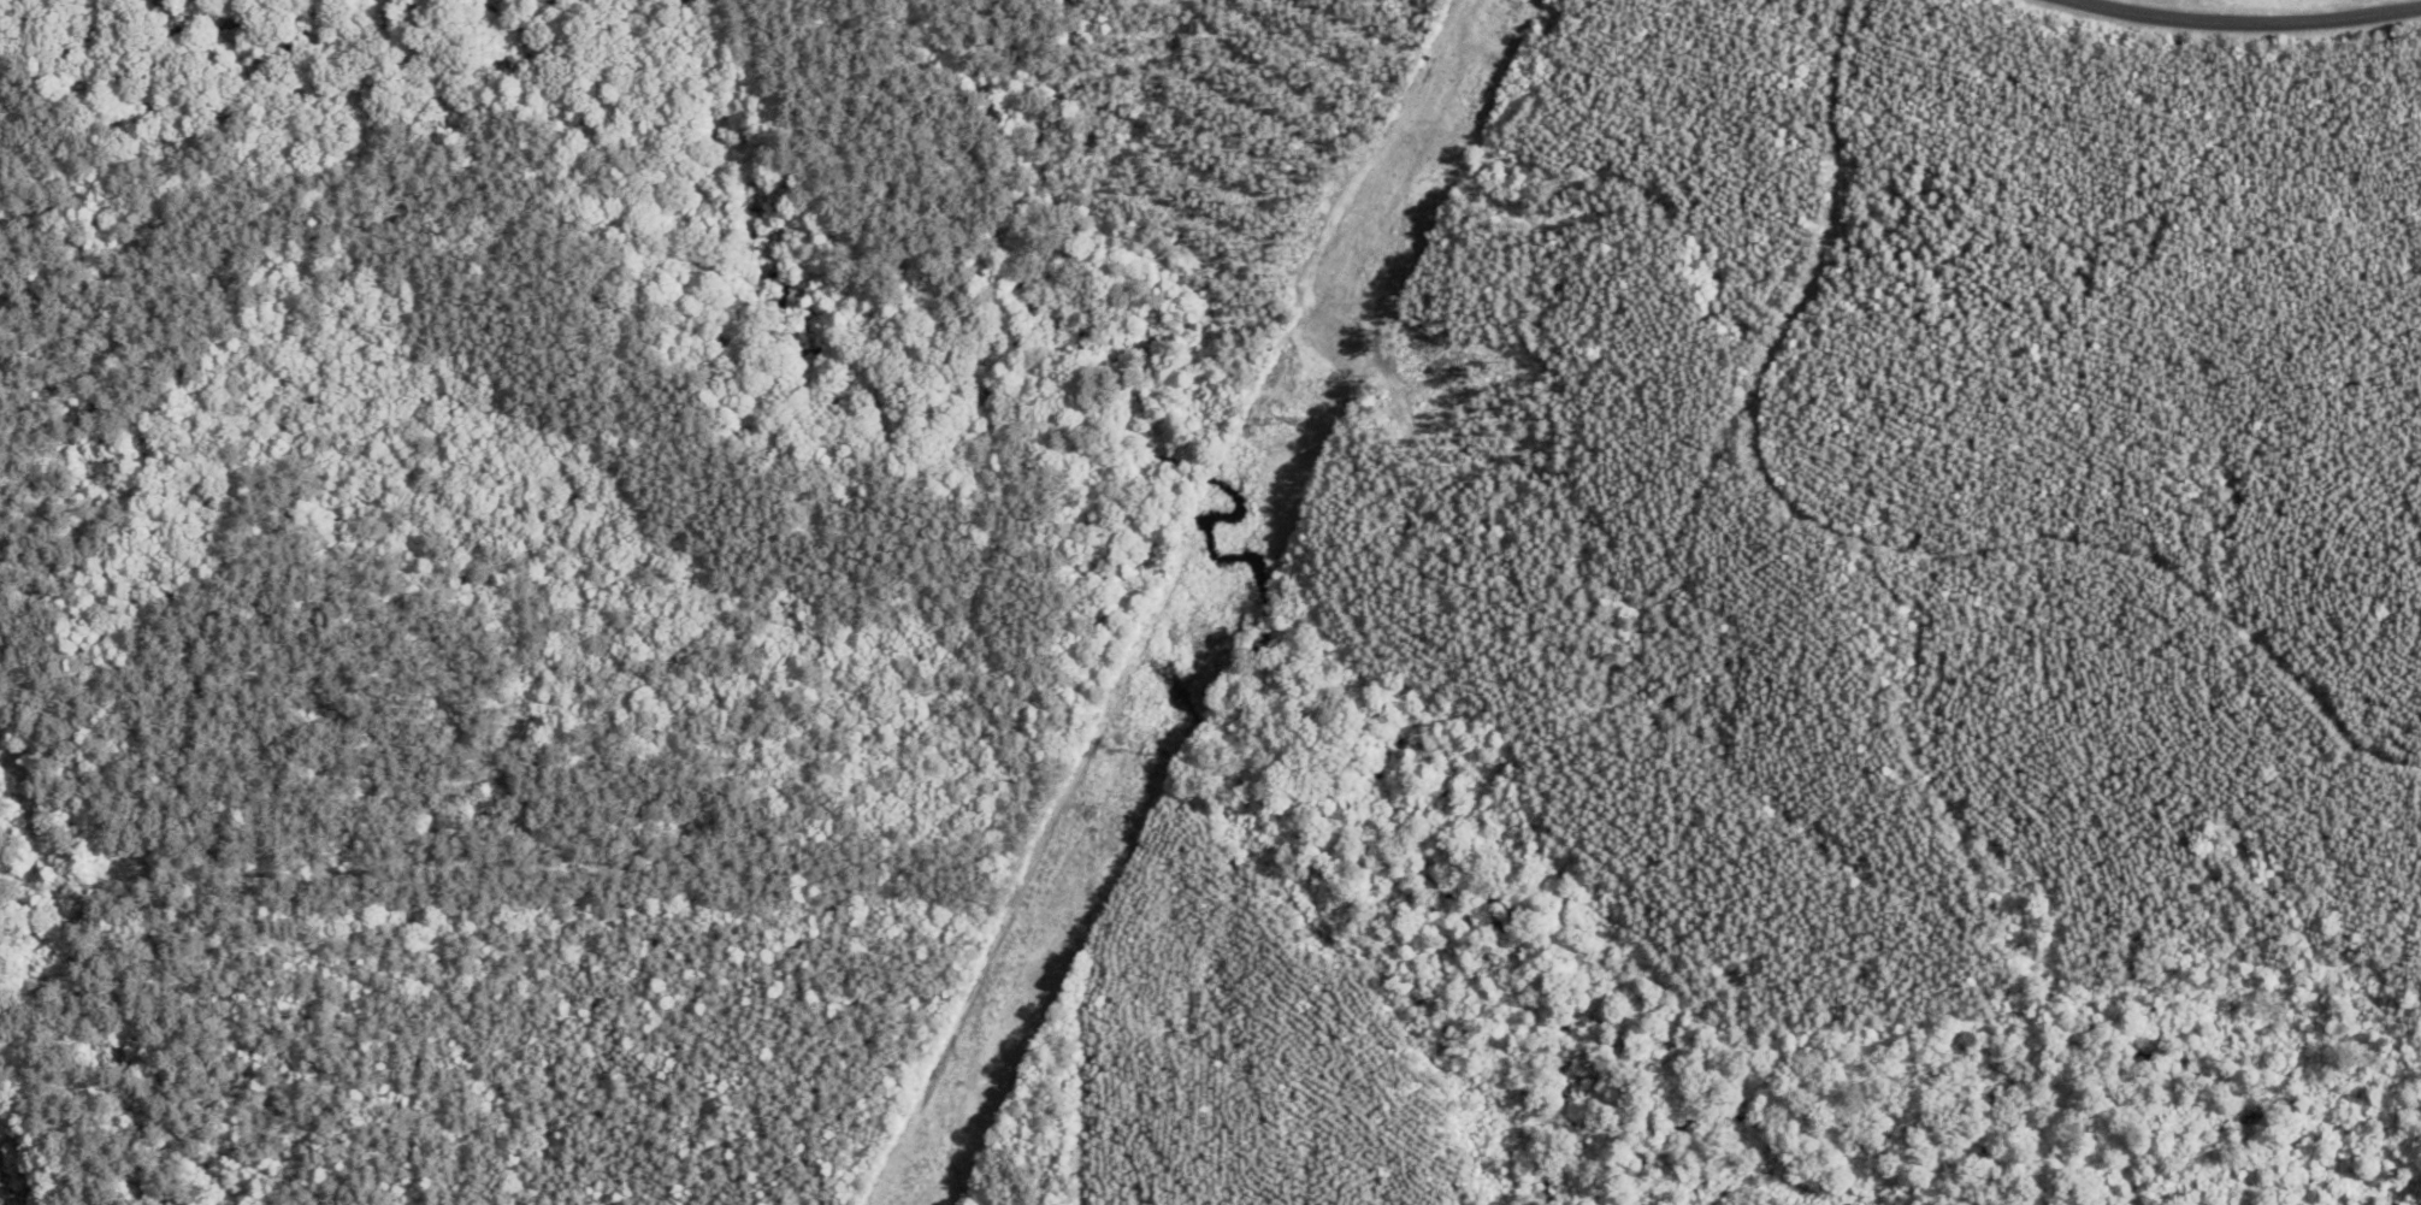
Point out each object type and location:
road: (2246, 23)
power tower: (1292, 421)

